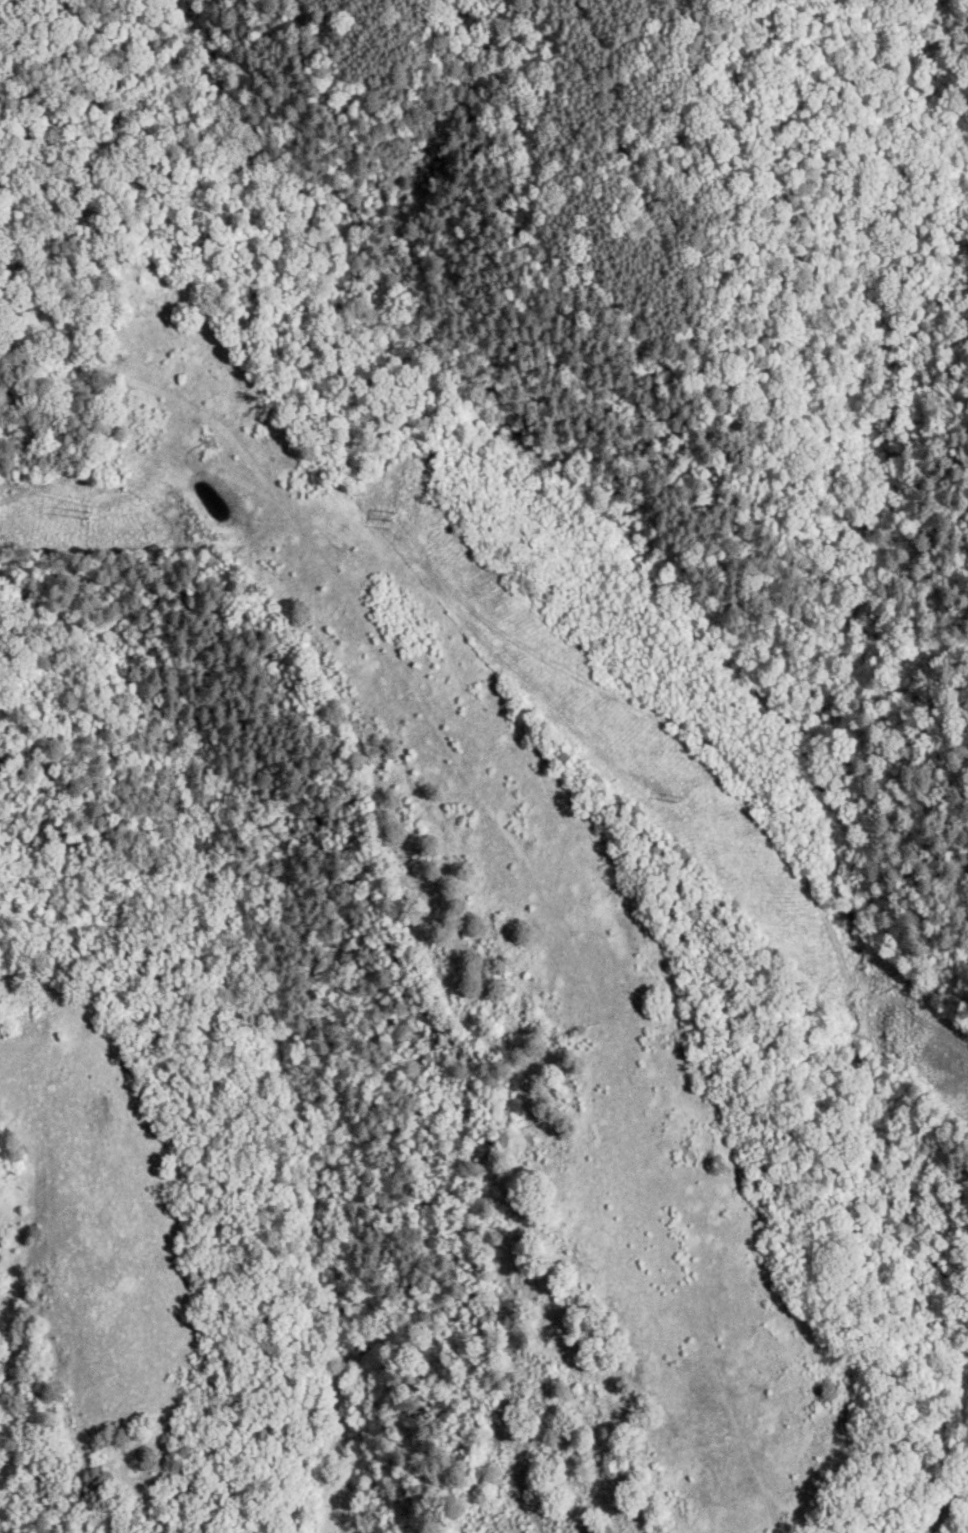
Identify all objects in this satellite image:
road: (802, 1237)

